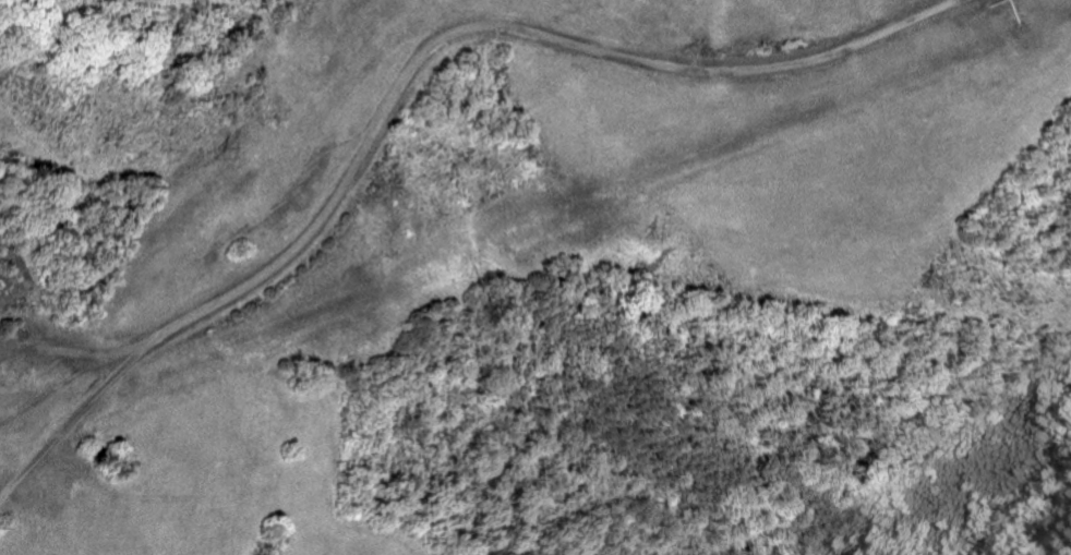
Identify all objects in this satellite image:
road: (936, 9)
road: (394, 102)
power tower: (215, 147)
power tower: (647, 229)
power tower: (907, 277)

